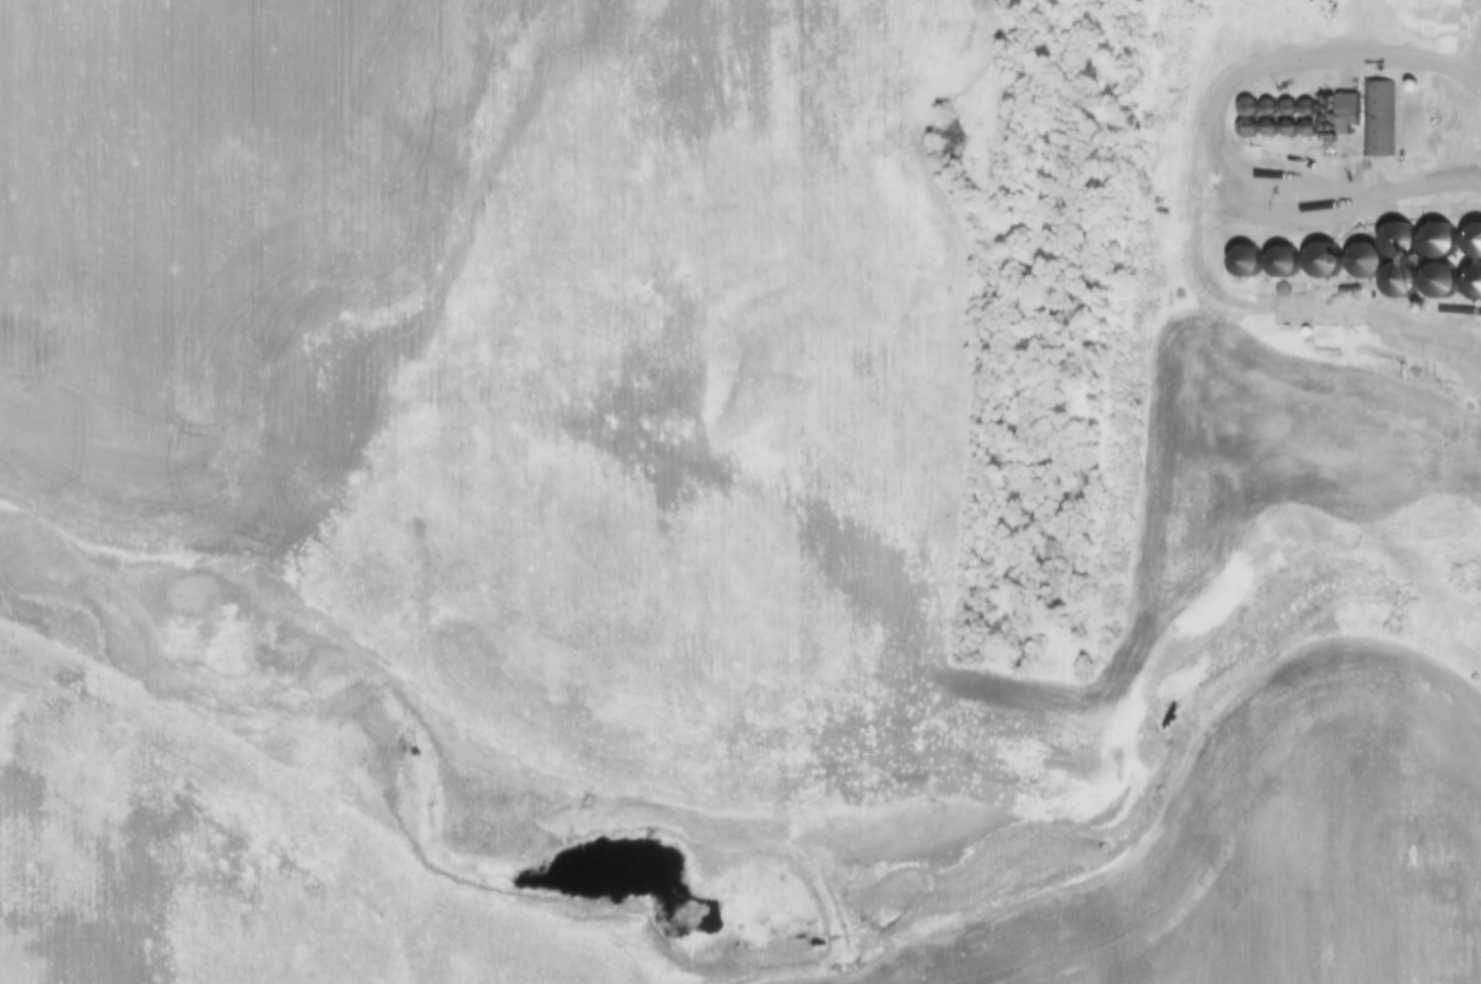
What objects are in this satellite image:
building: (1439, 25)
road: (1477, 60)
road: (1221, 136)
building: (1404, 241)
building: (1442, 242)
building: (1251, 262)
building: (1289, 263)
building: (1328, 263)
building: (1370, 264)
building: (1409, 282)
building: (1445, 285)
building: (1408, 316)

